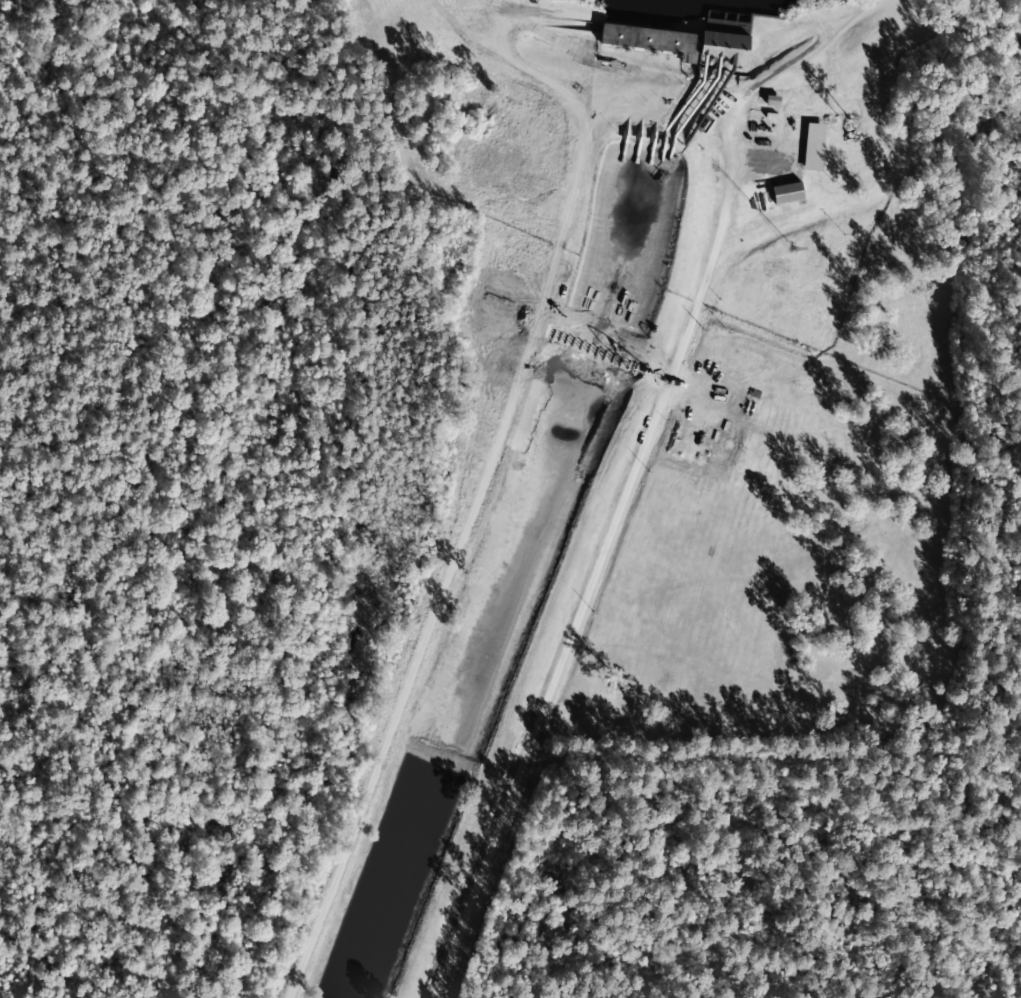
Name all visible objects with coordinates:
building: (646, 38)
dam: (674, 38)
building: (725, 46)
road: (584, 131)
building: (813, 147)
building: (787, 193)
road: (594, 352)
road: (656, 379)
road: (569, 646)

